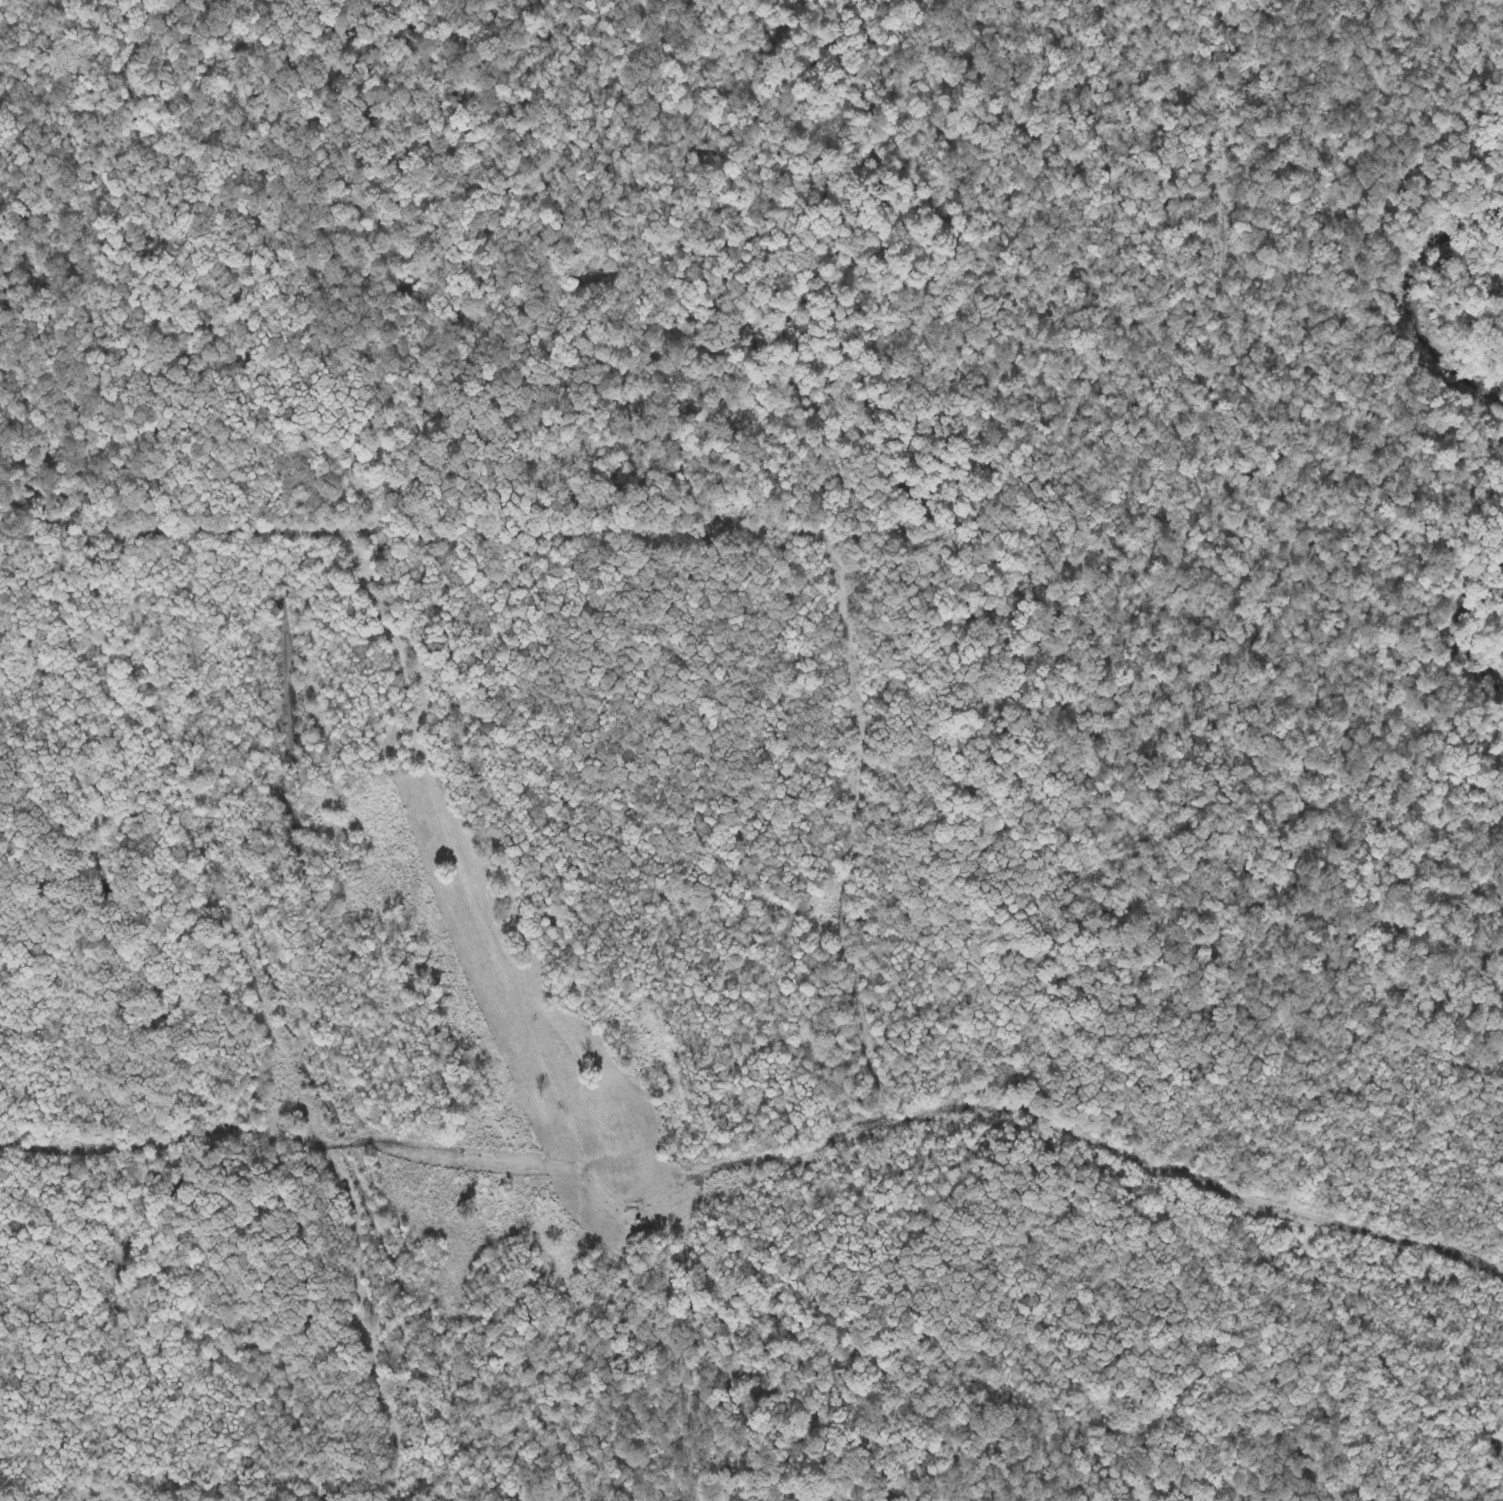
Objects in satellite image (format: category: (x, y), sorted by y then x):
river: (1428, 301)
river: (1478, 629)

